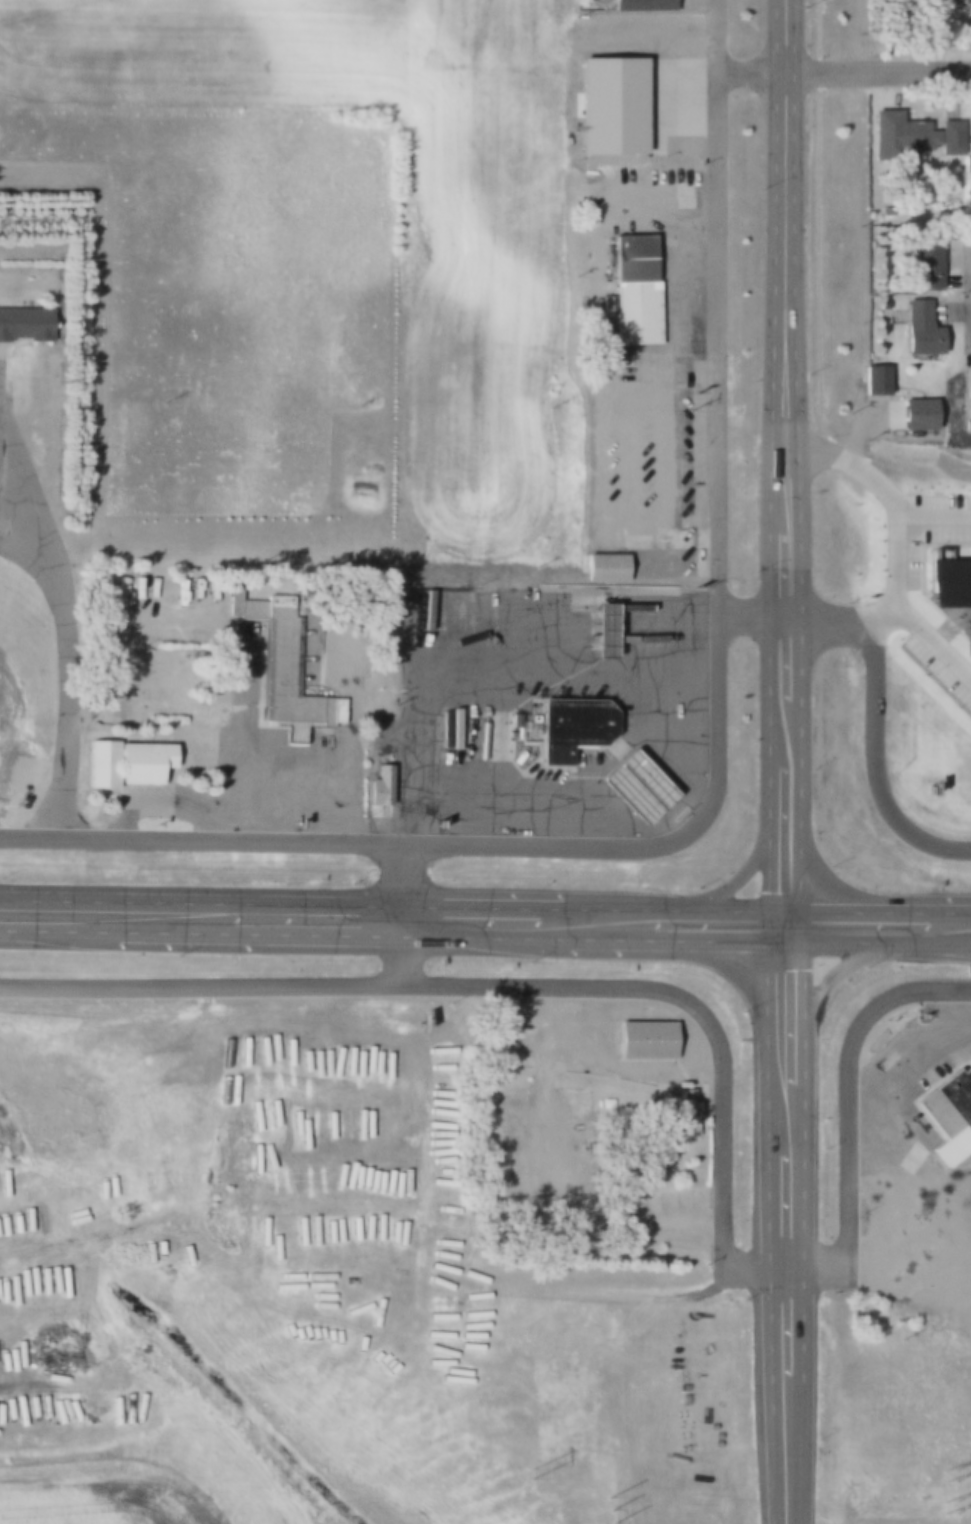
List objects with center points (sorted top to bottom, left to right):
building: (963, 2)
building: (641, 5)
road: (842, 72)
building: (609, 105)
building: (900, 133)
building: (950, 136)
building: (969, 148)
building: (923, 265)
road: (782, 267)
road: (970, 268)
building: (633, 289)
building: (26, 323)
building: (919, 329)
building: (967, 384)
building: (917, 413)
building: (606, 561)
road: (787, 574)
building: (950, 582)
building: (132, 591)
building: (232, 598)
building: (612, 629)
gas station: (612, 629)
road: (72, 630)
building: (970, 633)
road: (778, 663)
road: (887, 664)
road: (519, 666)
building: (285, 673)
building: (967, 684)
building: (582, 726)
road: (783, 740)
building: (133, 762)
road: (715, 764)
building: (929, 781)
building: (646, 785)
gas station: (646, 785)
road: (788, 793)
road: (789, 866)
road: (742, 872)
road: (396, 887)
road: (342, 908)
road: (737, 913)
road: (880, 913)
road: (784, 927)
road: (389, 933)
road: (828, 942)
road: (924, 942)
road: (395, 957)
road: (824, 987)
road: (779, 991)
road: (710, 1024)
building: (644, 1039)
road: (779, 1064)
building: (961, 1091)
building: (606, 1102)
building: (947, 1111)
building: (681, 1117)
road: (784, 1122)
road: (788, 1211)
road: (777, 1319)
road: (779, 1400)
road: (781, 1475)

